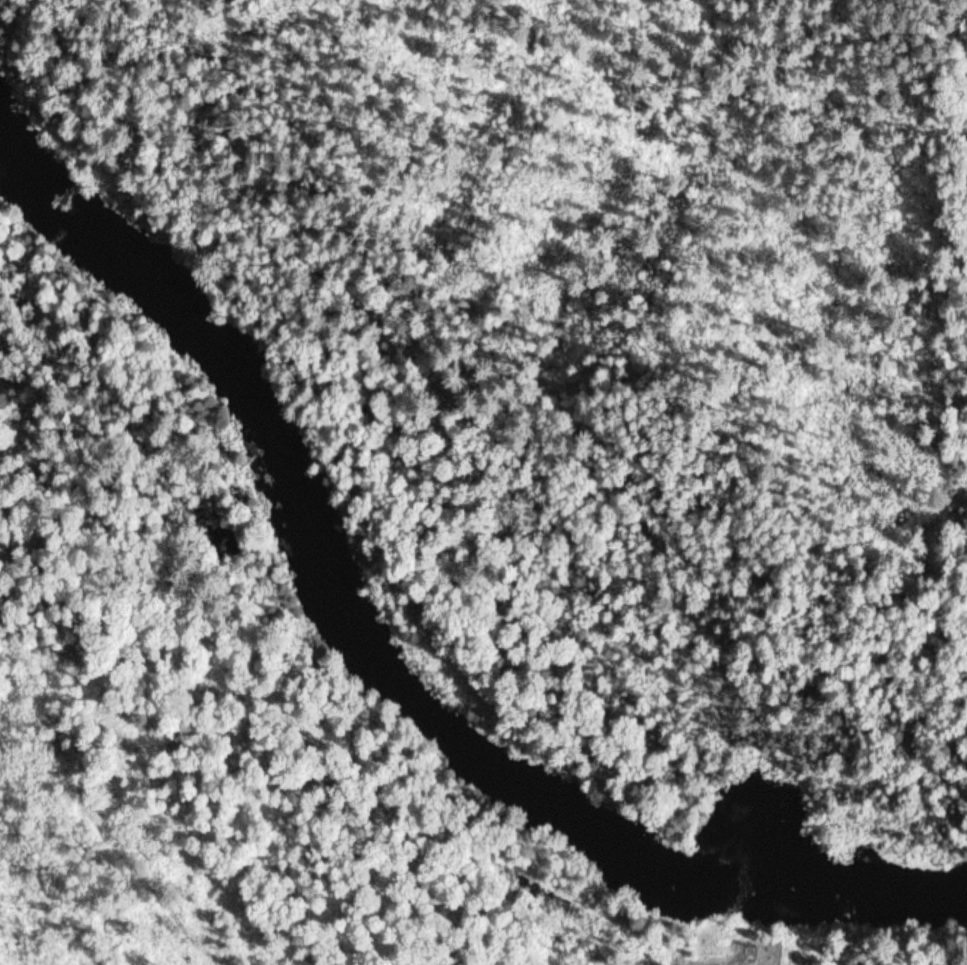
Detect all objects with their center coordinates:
river: (387, 638)

